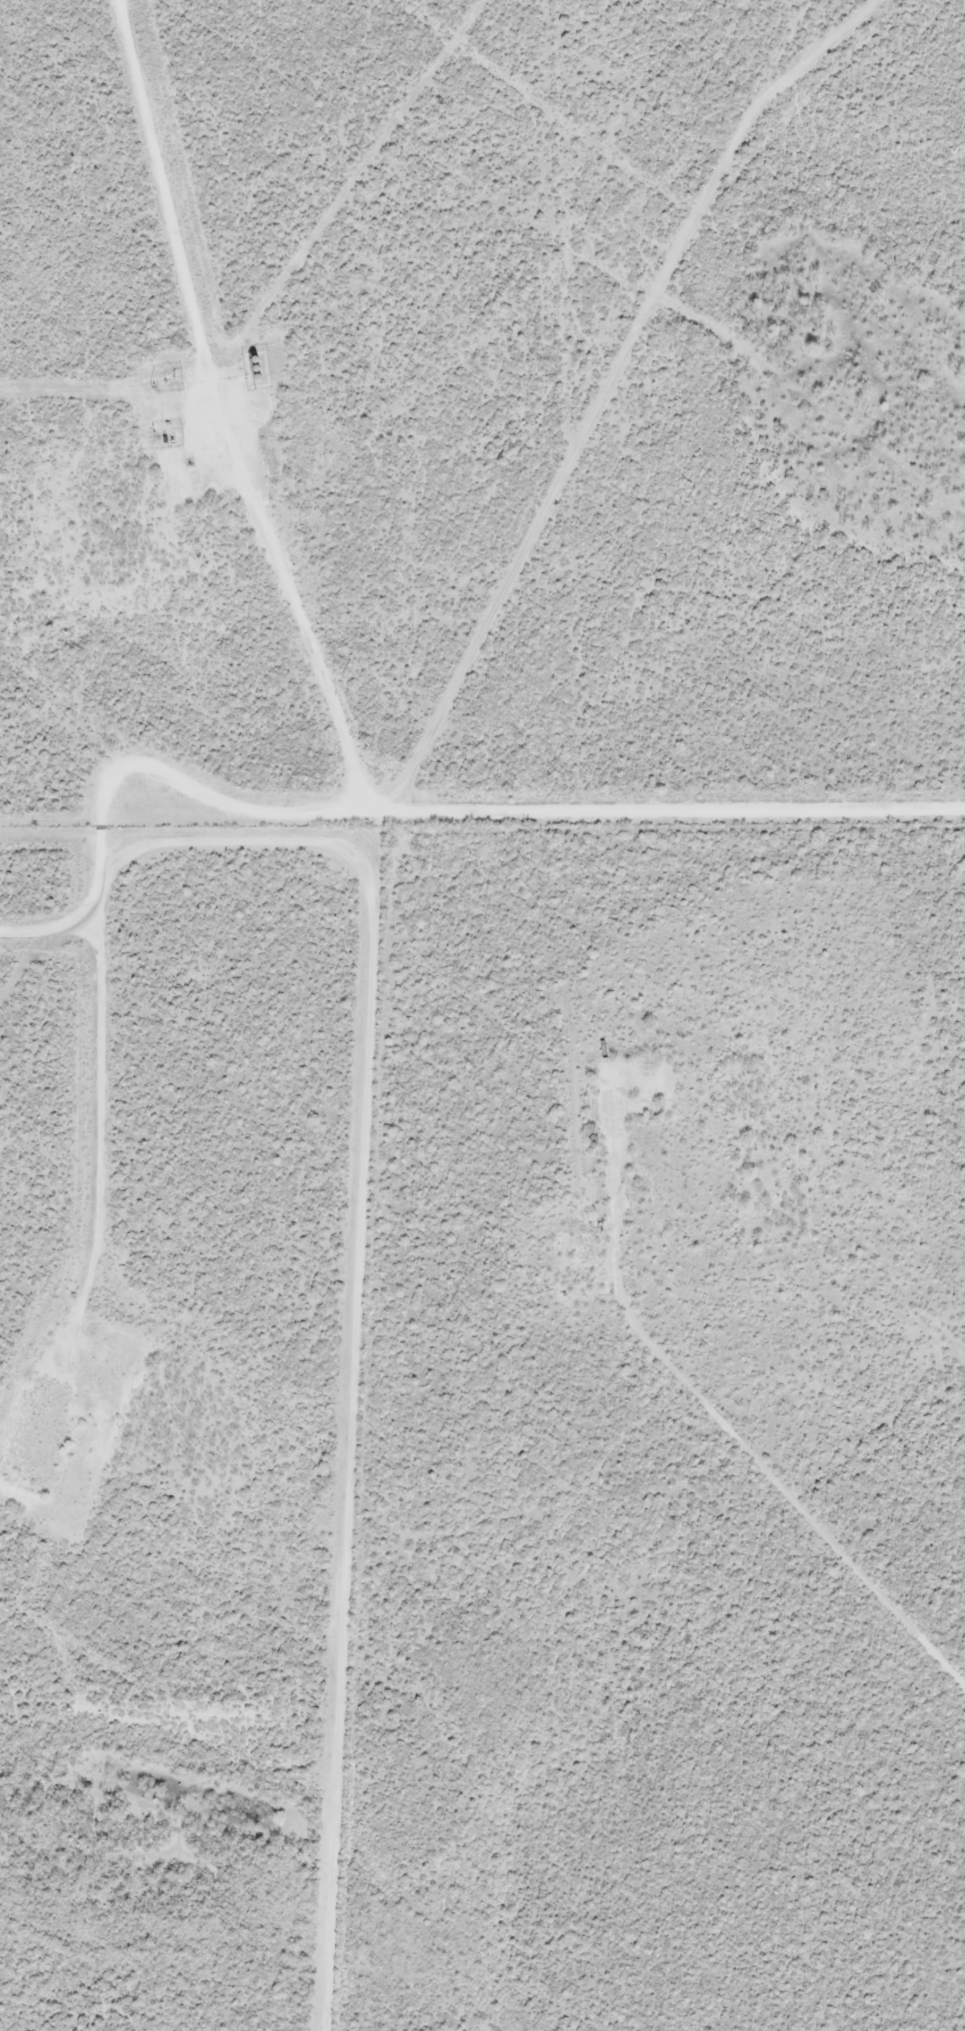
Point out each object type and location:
road: (593, 403)
road: (580, 722)

